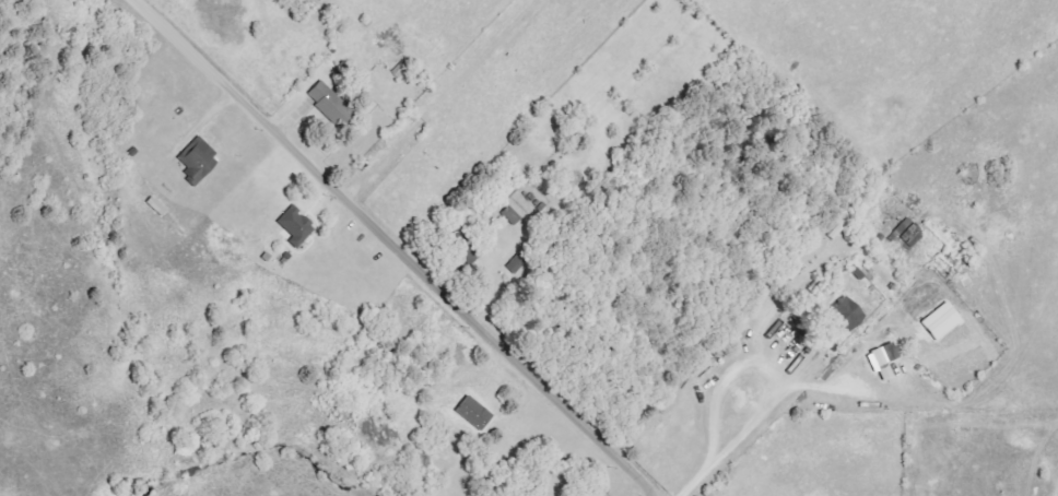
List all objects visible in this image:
building: (328, 104)
building: (196, 162)
building: (509, 215)
building: (294, 226)
road: (398, 246)
building: (460, 246)
building: (843, 314)
building: (939, 321)
building: (881, 361)
building: (472, 413)
road: (730, 447)

